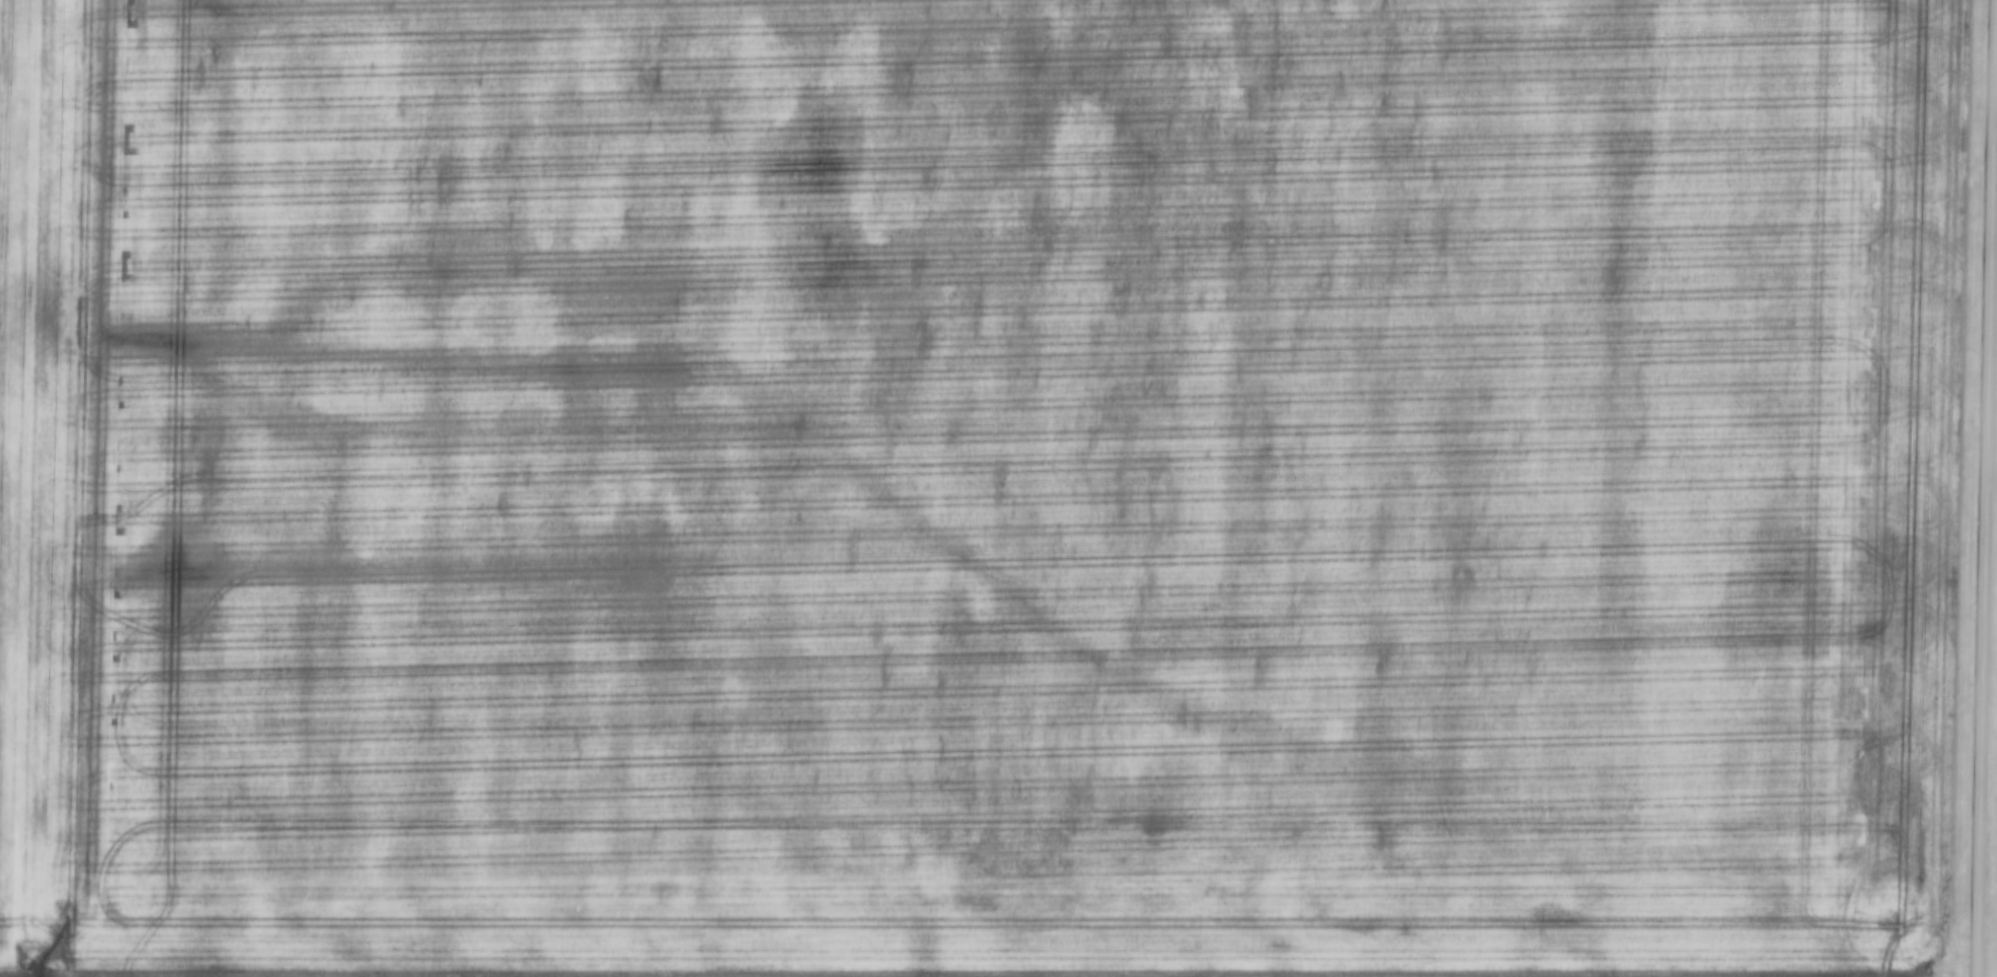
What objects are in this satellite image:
road: (1989, 594)

